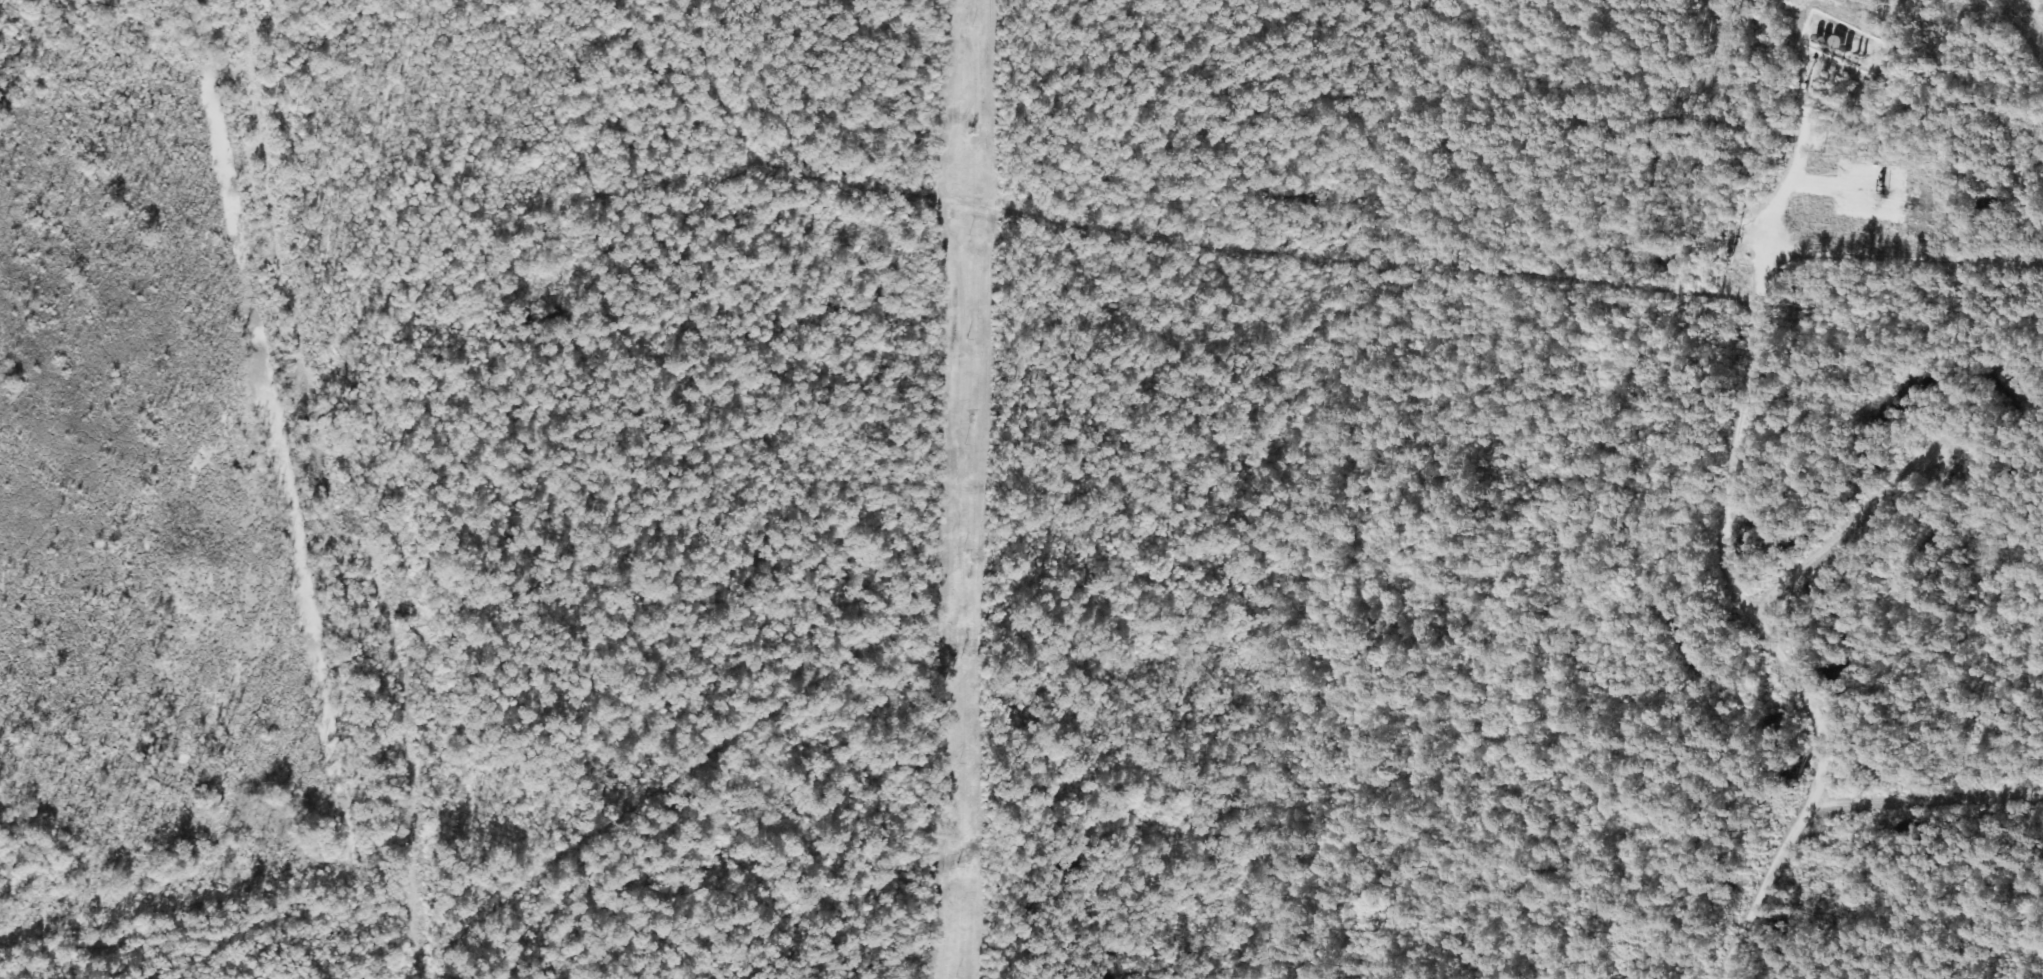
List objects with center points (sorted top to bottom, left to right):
road: (1309, 243)
road: (1743, 405)
road: (1936, 780)
road: (1825, 786)
road: (2018, 792)
road: (434, 798)
road: (403, 922)

